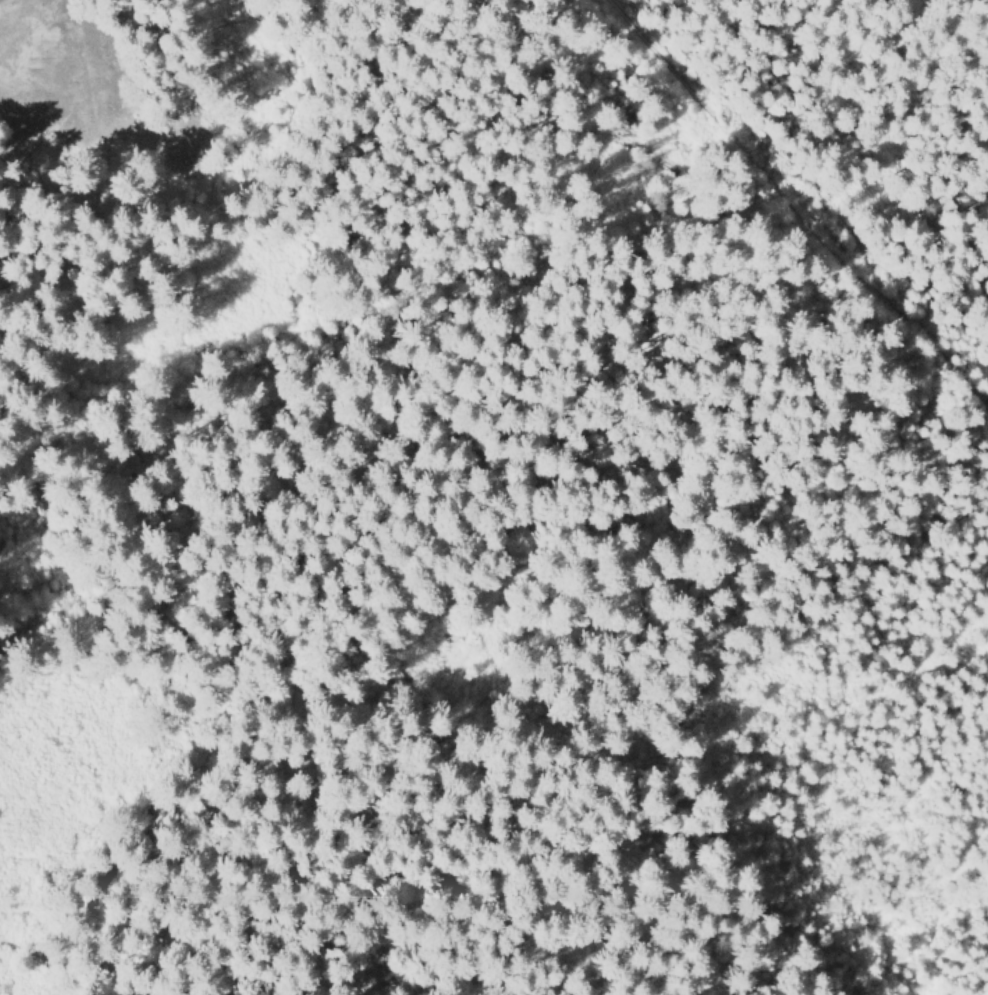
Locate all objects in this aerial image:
road: (798, 200)

